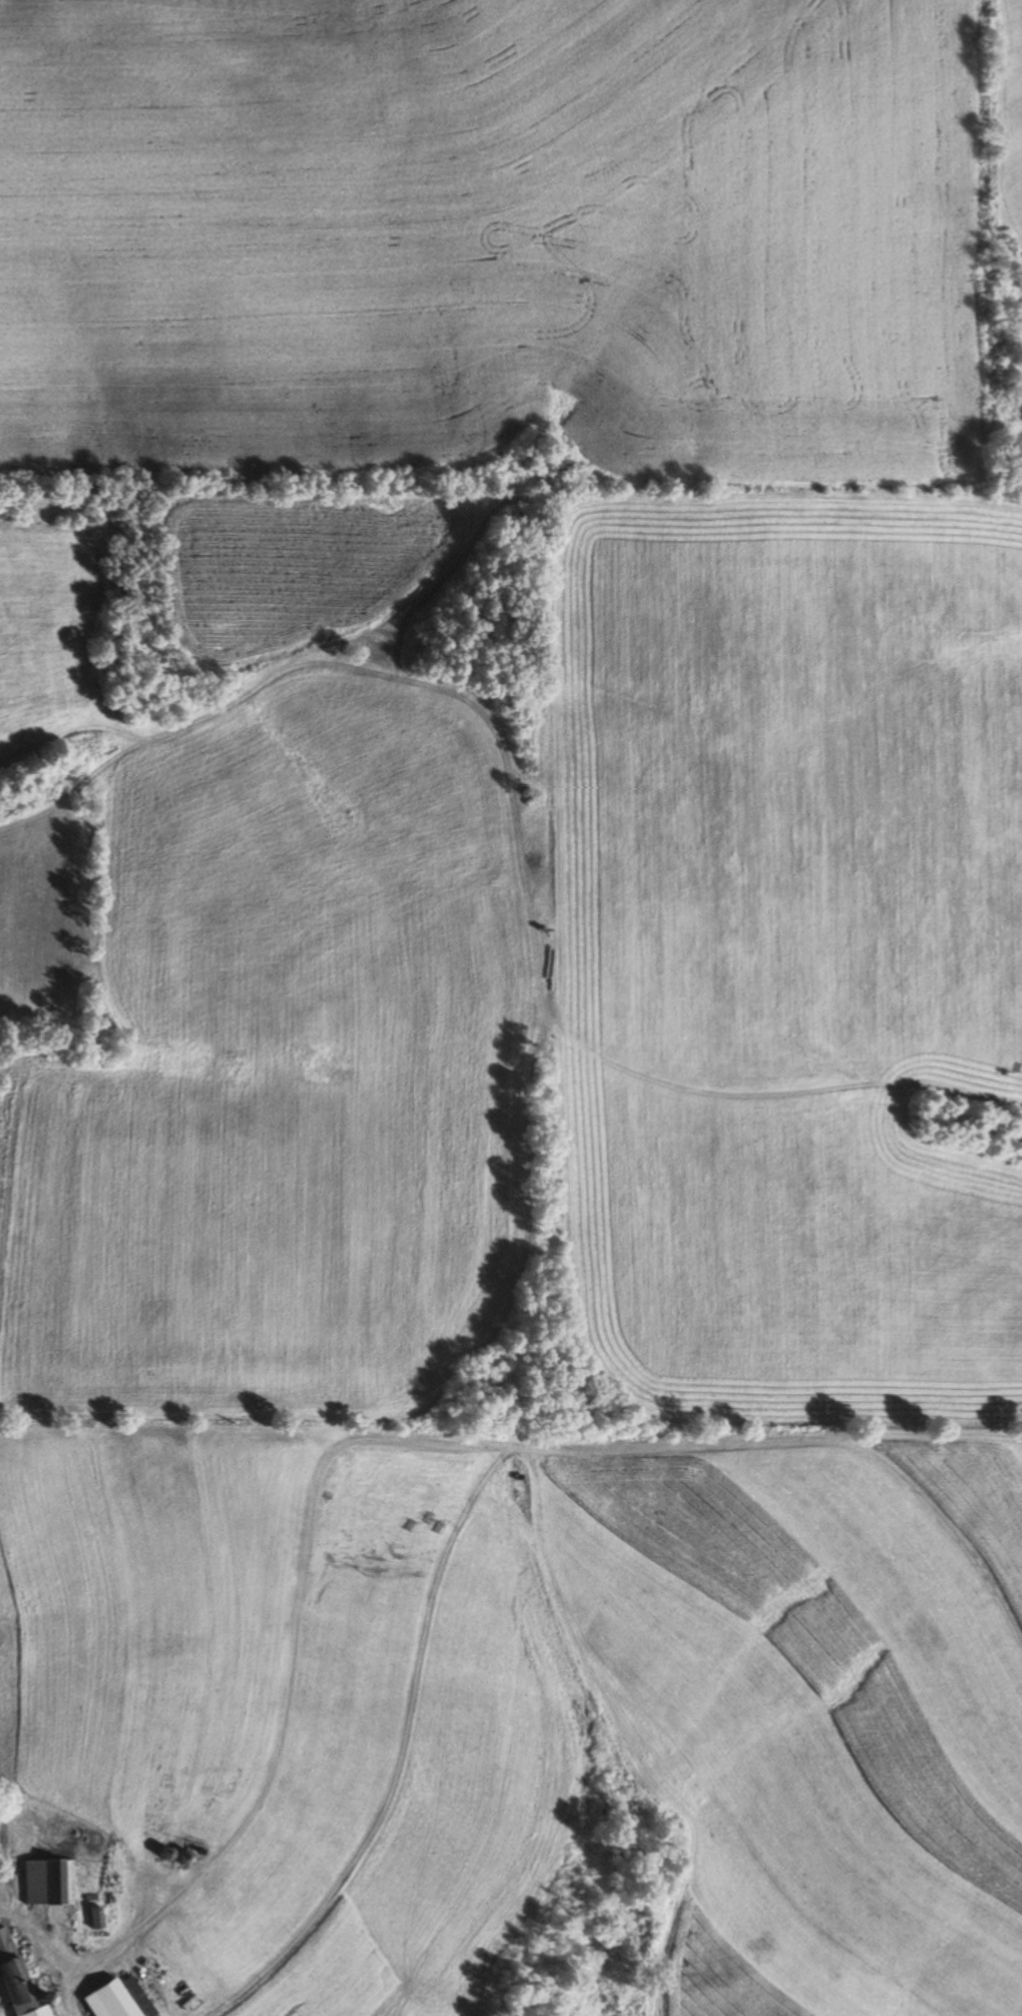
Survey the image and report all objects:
building: (185, 1856)
building: (48, 1881)
building: (17, 1980)
building: (112, 2000)

